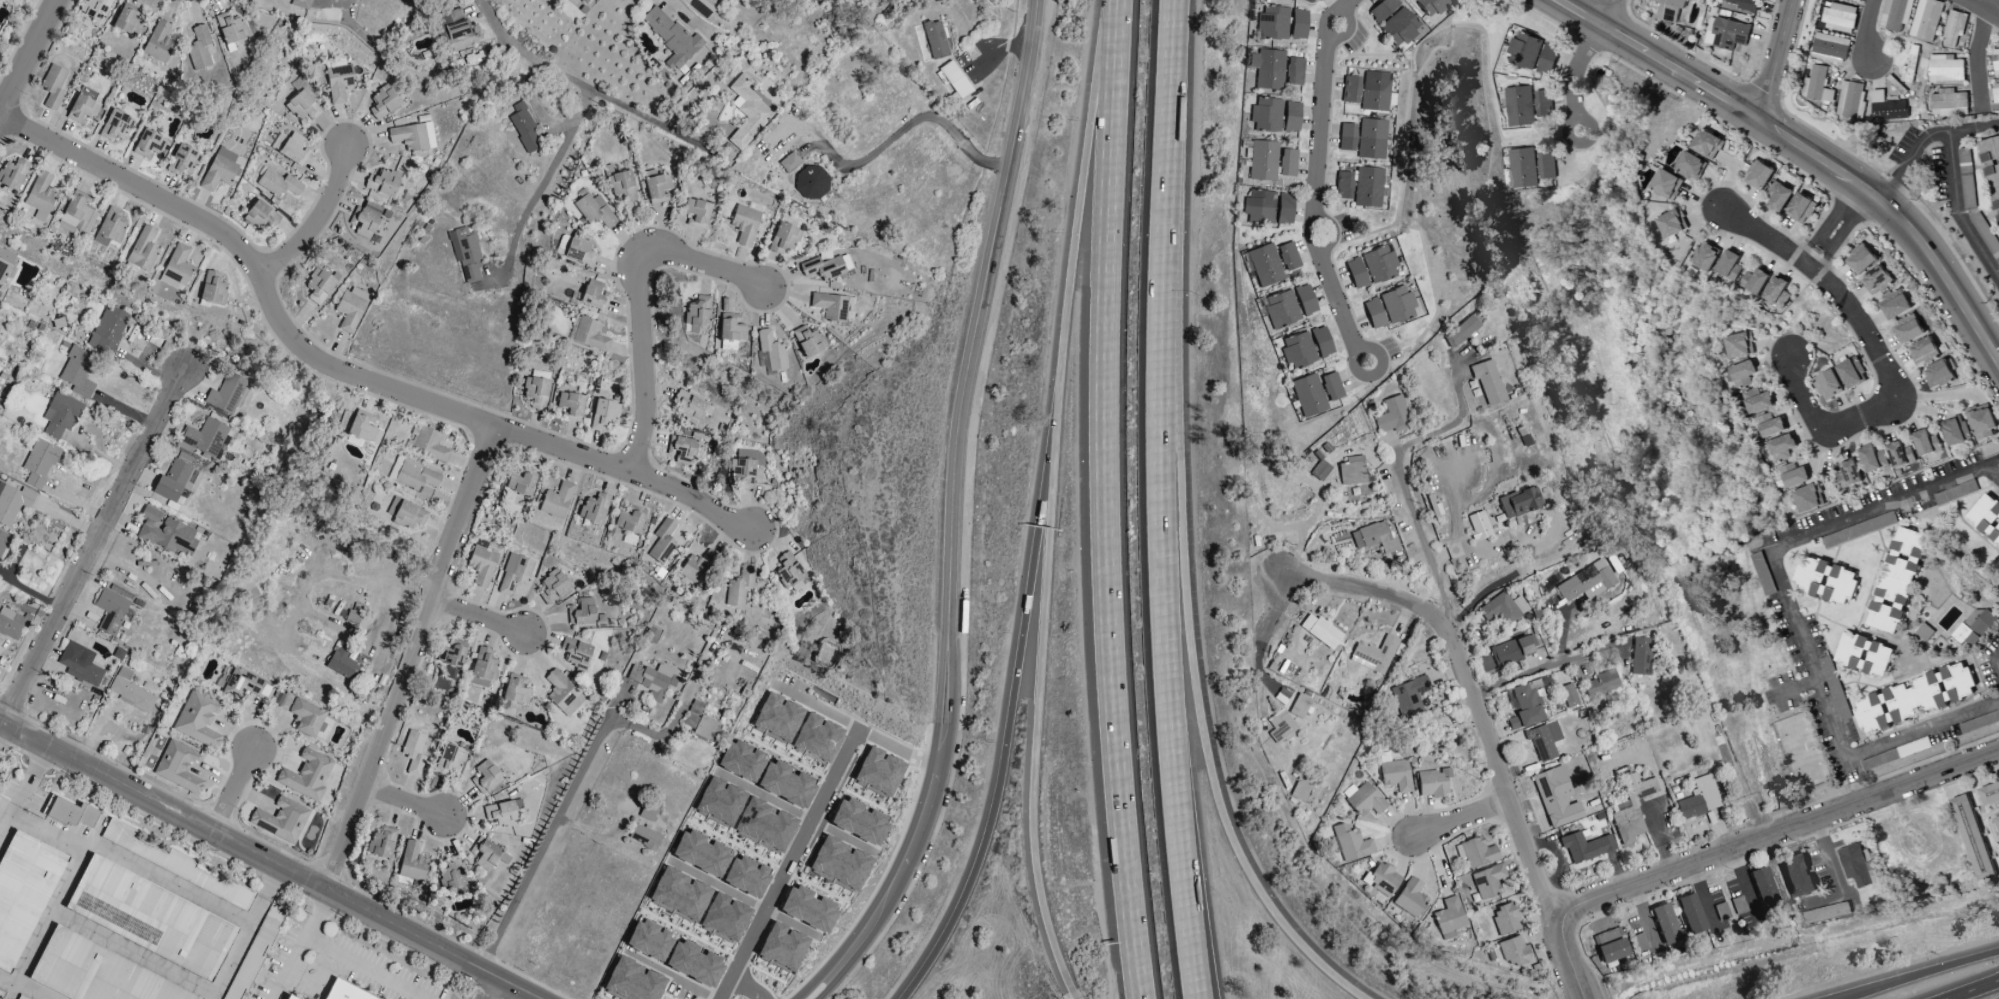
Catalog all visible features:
building: (596, 0)
building: (1317, 0)
building: (1860, 0)
building: (584, 1)
road: (331, 2)
building: (1744, 3)
building: (300, 4)
road: (1628, 4)
road: (1346, 6)
road: (1991, 6)
building: (1432, 7)
road: (1982, 7)
building: (1666, 8)
building: (95, 9)
road: (1614, 14)
building: (1894, 14)
building: (1839, 16)
building: (1924, 19)
building: (127, 20)
building: (1394, 21)
building: (1273, 23)
building: (1298, 24)
building: (454, 25)
building: (1953, 27)
building: (230, 28)
road: (1866, 29)
building: (1728, 33)
road: (1325, 34)
building: (671, 38)
building: (935, 39)
road: (1767, 39)
building: (158, 42)
building: (1829, 47)
building: (198, 48)
road: (1701, 48)
road: (1802, 48)
building: (1523, 50)
road: (1589, 50)
road: (26, 52)
road: (1005, 52)
road: (1977, 56)
building: (1546, 58)
road: (1777, 61)
building: (1995, 61)
building: (1945, 68)
building: (1268, 69)
building: (1294, 72)
building: (1905, 73)
building: (954, 80)
road: (574, 81)
building: (339, 83)
building: (1816, 84)
building: (52, 86)
building: (1350, 90)
building: (1375, 91)
building: (1995, 92)
road: (1575, 96)
building: (1849, 98)
building: (383, 102)
building: (1542, 102)
building: (1948, 102)
building: (1518, 105)
building: (83, 106)
building: (302, 106)
building: (1886, 106)
building: (747, 111)
building: (1266, 115)
building: (1291, 117)
road: (909, 123)
building: (115, 125)
building: (524, 129)
road: (1321, 129)
road: (1567, 130)
road: (1591, 131)
building: (412, 137)
building: (1347, 137)
building: (1371, 139)
building: (1706, 143)
building: (147, 144)
building: (294, 149)
road: (1806, 150)
road: (1913, 155)
building: (182, 160)
building: (1263, 161)
building: (789, 162)
building: (1287, 163)
building: (1546, 165)
building: (1689, 165)
building: (1521, 167)
building: (219, 170)
building: (1992, 170)
building: (12, 174)
building: (1757, 174)
road: (544, 179)
building: (812, 182)
building: (382, 183)
building: (1665, 183)
building: (278, 184)
building: (622, 186)
building: (1344, 186)
building: (1368, 187)
building: (658, 189)
road: (1956, 189)
road: (1910, 190)
building: (1777, 195)
building: (40, 196)
building: (1259, 207)
building: (1799, 207)
building: (1284, 209)
building: (594, 211)
building: (696, 213)
building: (74, 214)
building: (261, 217)
road: (316, 219)
road: (1830, 221)
building: (1671, 222)
building: (363, 223)
building: (745, 223)
building: (109, 228)
road: (1842, 230)
road: (1076, 232)
building: (783, 239)
building: (1989, 240)
road: (1824, 242)
road: (1313, 245)
building: (142, 250)
building: (579, 250)
building: (1703, 255)
building: (466, 256)
building: (1288, 256)
building: (1859, 258)
building: (5, 264)
building: (1728, 264)
building: (1264, 265)
building: (1379, 265)
building: (826, 267)
building: (176, 268)
building: (1356, 273)
building: (1753, 280)
building: (1875, 280)
building: (318, 286)
building: (212, 288)
building: (1776, 291)
building: (593, 295)
road: (1337, 299)
building: (1305, 300)
road: (1844, 303)
road: (640, 304)
building: (1397, 305)
building: (830, 306)
building: (1894, 306)
building: (351, 308)
building: (1280, 310)
building: (697, 314)
building: (1374, 314)
building: (730, 328)
building: (108, 330)
building: (1907, 330)
building: (1461, 331)
building: (589, 335)
building: (808, 341)
building: (1321, 342)
building: (1738, 344)
building: (1922, 349)
road: (1362, 350)
building: (771, 351)
building: (1298, 351)
road: (339, 371)
building: (77, 372)
building: (1850, 372)
building: (1741, 373)
building: (1937, 373)
building: (1487, 382)
building: (1827, 384)
building: (1331, 387)
building: (535, 392)
building: (226, 394)
building: (1308, 396)
building: (1756, 399)
building: (570, 406)
building: (688, 406)
road: (1806, 406)
building: (603, 414)
building: (60, 415)
building: (1392, 415)
building: (1981, 423)
building: (1769, 424)
building: (363, 427)
building: (1954, 430)
building: (203, 438)
building: (1925, 442)
building: (429, 445)
building: (1781, 446)
building: (680, 449)
building: (1899, 454)
building: (1871, 458)
building: (39, 463)
building: (745, 467)
road: (1992, 468)
building: (1320, 470)
building: (1351, 471)
building: (1793, 474)
building: (1847, 474)
building: (415, 476)
road: (1398, 476)
building: (174, 482)
building: (520, 484)
building: (1807, 497)
road: (1103, 500)
road: (1158, 500)
building: (556, 501)
building: (12, 502)
building: (1519, 502)
building: (593, 509)
building: (405, 514)
road: (954, 515)
building: (1985, 518)
building: (629, 521)
building: (1478, 526)
road: (1306, 528)
building: (167, 533)
building: (1367, 535)
building: (3, 542)
building: (662, 542)
road: (90, 546)
road: (1287, 562)
building: (481, 565)
road: (1778, 565)
building: (696, 567)
building: (789, 572)
building: (514, 574)
building: (1824, 579)
building: (1895, 579)
building: (1585, 582)
building: (552, 587)
building: (739, 587)
road: (1272, 598)
building: (1498, 609)
building: (110, 611)
building: (581, 612)
road: (479, 615)
building: (11, 625)
building: (1973, 627)
building: (1320, 631)
building: (651, 633)
road: (1445, 633)
building: (1513, 650)
building: (575, 652)
building: (1862, 654)
building: (1374, 655)
building: (451, 656)
building: (1640, 656)
road: (1997, 660)
road: (413, 662)
building: (79, 664)
building: (342, 664)
road: (1546, 668)
building: (482, 669)
building: (652, 680)
building: (1832, 683)
building: (1600, 684)
building: (245, 685)
road: (1796, 687)
building: (515, 690)
building: (130, 691)
building: (562, 693)
building: (1568, 695)
building: (1913, 697)
building: (1409, 698)
building: (1297, 705)
building: (1525, 707)
road: (830, 709)
building: (305, 717)
building: (777, 718)
building: (197, 719)
road: (1199, 720)
building: (689, 721)
building: (1280, 726)
road: (1922, 726)
building: (706, 728)
road: (1036, 733)
building: (817, 738)
building: (1544, 740)
road: (1007, 742)
road: (904, 750)
building: (413, 752)
building: (449, 759)
building: (741, 761)
building: (178, 767)
building: (878, 772)
building: (1395, 775)
road: (32, 776)
building: (306, 776)
building: (485, 777)
building: (1433, 782)
building: (785, 784)
road: (232, 789)
building: (1989, 792)
building: (1555, 797)
building: (1699, 798)
road: (407, 799)
building: (1363, 799)
road: (770, 800)
building: (719, 802)
building: (1, 805)
building: (1631, 809)
building: (69, 812)
building: (501, 814)
building: (280, 820)
road: (1460, 820)
road: (8, 821)
building: (858, 821)
building: (1996, 822)
building: (764, 825)
road: (1781, 834)
road: (603, 835)
building: (644, 837)
building: (1350, 842)
building: (381, 843)
road: (546, 845)
building: (1585, 846)
building: (700, 853)
building: (1477, 853)
building: (487, 855)
road: (799, 856)
road: (265, 859)
road: (1531, 862)
building: (412, 863)
building: (172, 864)
building: (839, 864)
building: (1856, 865)
building: (1797, 875)
building: (745, 877)
building: (452, 878)
building: (1383, 879)
road: (272, 882)
building: (1487, 882)
building: (1764, 887)
road: (722, 889)
building: (23, 892)
building: (679, 895)
building: (1410, 898)
building: (807, 909)
building: (1825, 912)
building: (1691, 914)
road: (317, 915)
building: (1449, 916)
building: (150, 918)
building: (724, 918)
building: (1506, 918)
building: (1665, 923)
building: (648, 940)
building: (1610, 945)
building: (781, 947)
road: (238, 948)
building: (254, 950)
building: (1514, 952)
road: (1566, 958)
road: (1960, 962)
building: (693, 964)
road: (288, 967)
road: (369, 967)
building: (96, 974)
road: (672, 976)
building: (632, 981)
road: (24, 986)
road: (1878, 986)
road: (1887, 986)
road: (747, 987)
road: (724, 989)
road: (1973, 989)
building: (343, 992)
road: (1074, 996)
building: (288, 997)
building: (19, 998)
road: (719, 998)

